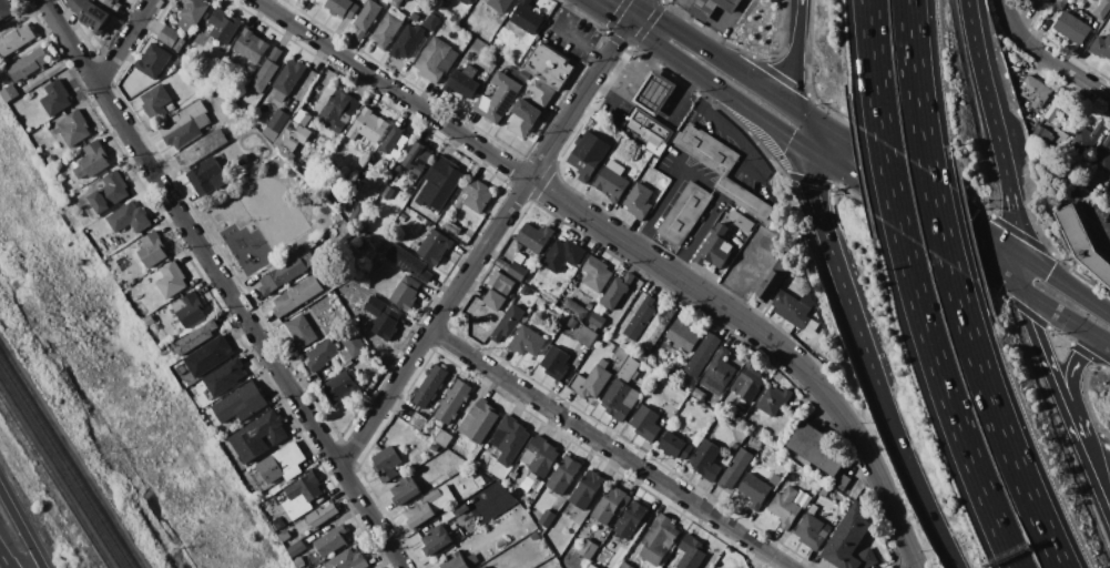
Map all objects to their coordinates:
building: (470, 0)
building: (465, 1)
building: (395, 2)
building: (112, 3)
building: (1060, 3)
building: (500, 4)
building: (1038, 4)
building: (711, 7)
road: (1002, 7)
building: (342, 8)
road: (622, 8)
road: (639, 8)
building: (4, 9)
building: (1102, 9)
building: (191, 12)
building: (91, 14)
traffic signals: (634, 16)
building: (527, 17)
building: (366, 19)
building: (457, 19)
building: (432, 20)
building: (470, 22)
road: (797, 24)
building: (223, 26)
building: (1072, 28)
building: (387, 30)
building: (169, 35)
road: (564, 35)
building: (16, 40)
road: (123, 41)
building: (409, 42)
building: (180, 44)
building: (251, 45)
building: (1101, 47)
road: (719, 54)
building: (1012, 59)
building: (436, 60)
building: (153, 61)
road: (1052, 61)
building: (29, 64)
building: (549, 65)
building: (172, 68)
building: (251, 68)
road: (874, 71)
building: (265, 72)
road: (109, 74)
building: (247, 74)
building: (288, 77)
building: (462, 80)
road: (792, 80)
road: (714, 85)
road: (915, 87)
building: (1035, 91)
building: (9, 93)
building: (541, 93)
building: (655, 93)
building: (55, 98)
building: (498, 99)
road: (987, 100)
building: (155, 103)
building: (338, 110)
traffic signals: (800, 110)
building: (1051, 112)
building: (523, 118)
building: (640, 118)
building: (278, 120)
building: (186, 125)
building: (368, 126)
building: (74, 128)
road: (724, 128)
road: (803, 129)
building: (1038, 132)
building: (292, 134)
building: (664, 134)
building: (1088, 138)
building: (1053, 139)
building: (395, 142)
traffic signals: (807, 148)
building: (202, 149)
building: (671, 154)
building: (588, 155)
building: (1103, 156)
building: (417, 159)
building: (50, 160)
building: (91, 160)
building: (720, 166)
building: (207, 176)
road: (908, 181)
building: (440, 183)
building: (665, 183)
building: (612, 184)
road: (892, 187)
building: (110, 192)
road: (814, 192)
building: (477, 195)
building: (639, 202)
road: (660, 204)
building: (398, 205)
road: (225, 207)
park: (275, 212)
building: (685, 213)
building: (129, 217)
park: (263, 217)
road: (213, 219)
road: (914, 219)
road: (937, 219)
building: (741, 221)
road: (1097, 221)
parking lot: (1097, 224)
road: (1015, 226)
building: (451, 227)
road: (696, 235)
building: (735, 236)
building: (114, 237)
building: (534, 237)
road: (487, 241)
building: (1082, 243)
building: (435, 245)
road: (630, 245)
building: (715, 248)
building: (152, 250)
traffic signals: (1018, 253)
building: (562, 255)
building: (519, 257)
road: (228, 262)
building: (409, 262)
building: (512, 268)
road: (1019, 272)
building: (365, 273)
building: (597, 274)
building: (283, 275)
building: (172, 278)
road: (235, 282)
building: (501, 283)
road: (1063, 283)
road: (222, 284)
building: (770, 285)
building: (615, 291)
traffic signals: (1020, 291)
building: (406, 292)
building: (298, 295)
building: (582, 295)
building: (366, 297)
building: (493, 300)
building: (589, 306)
building: (788, 306)
building: (190, 308)
building: (573, 308)
road: (853, 314)
building: (640, 318)
road: (1065, 318)
building: (595, 322)
building: (386, 323)
building: (509, 323)
building: (571, 323)
building: (655, 328)
building: (303, 331)
building: (585, 335)
building: (682, 335)
building: (196, 337)
building: (527, 341)
traffic signals: (1102, 342)
building: (353, 345)
building: (625, 348)
building: (621, 354)
building: (322, 355)
building: (703, 355)
building: (207, 356)
building: (639, 356)
building: (556, 363)
building: (629, 368)
building: (721, 368)
road: (1050, 371)
building: (652, 372)
building: (672, 373)
building: (224, 377)
building: (591, 381)
building: (749, 382)
building: (343, 386)
building: (429, 386)
road: (1073, 389)
building: (191, 392)
building: (206, 396)
building: (773, 399)
building: (452, 400)
building: (617, 400)
building: (241, 403)
road: (949, 403)
building: (428, 410)
building: (741, 410)
road: (997, 418)
building: (479, 420)
building: (418, 422)
building: (645, 424)
building: (761, 434)
building: (258, 436)
building: (442, 437)
building: (509, 438)
road: (348, 446)
building: (675, 446)
building: (435, 447)
road: (609, 447)
building: (734, 447)
building: (814, 448)
building: (481, 455)
building: (540, 456)
building: (706, 460)
railway: (67, 464)
building: (282, 464)
building: (386, 464)
building: (481, 466)
building: (735, 468)
railway: (60, 473)
building: (563, 476)
road: (923, 479)
road: (1097, 479)
building: (480, 480)
railway: (54, 481)
building: (842, 481)
building: (528, 488)
building: (587, 489)
building: (406, 490)
building: (754, 490)
building: (278, 498)
building: (298, 500)
building: (609, 505)
building: (785, 507)
building: (422, 509)
building: (457, 513)
building: (323, 515)
building: (547, 518)
building: (631, 519)
road: (20, 529)
building: (812, 530)
building: (285, 536)
building: (534, 536)
building: (436, 539)
building: (659, 539)
building: (332, 540)
building: (851, 541)
building: (501, 542)
building: (297, 549)
building: (588, 549)
building: (691, 554)
building: (348, 560)
building: (299, 561)
building: (459, 561)
road: (1, 565)
building: (625, 565)
building: (483, 567)
building: (589, 567)
road: (916, 567)

